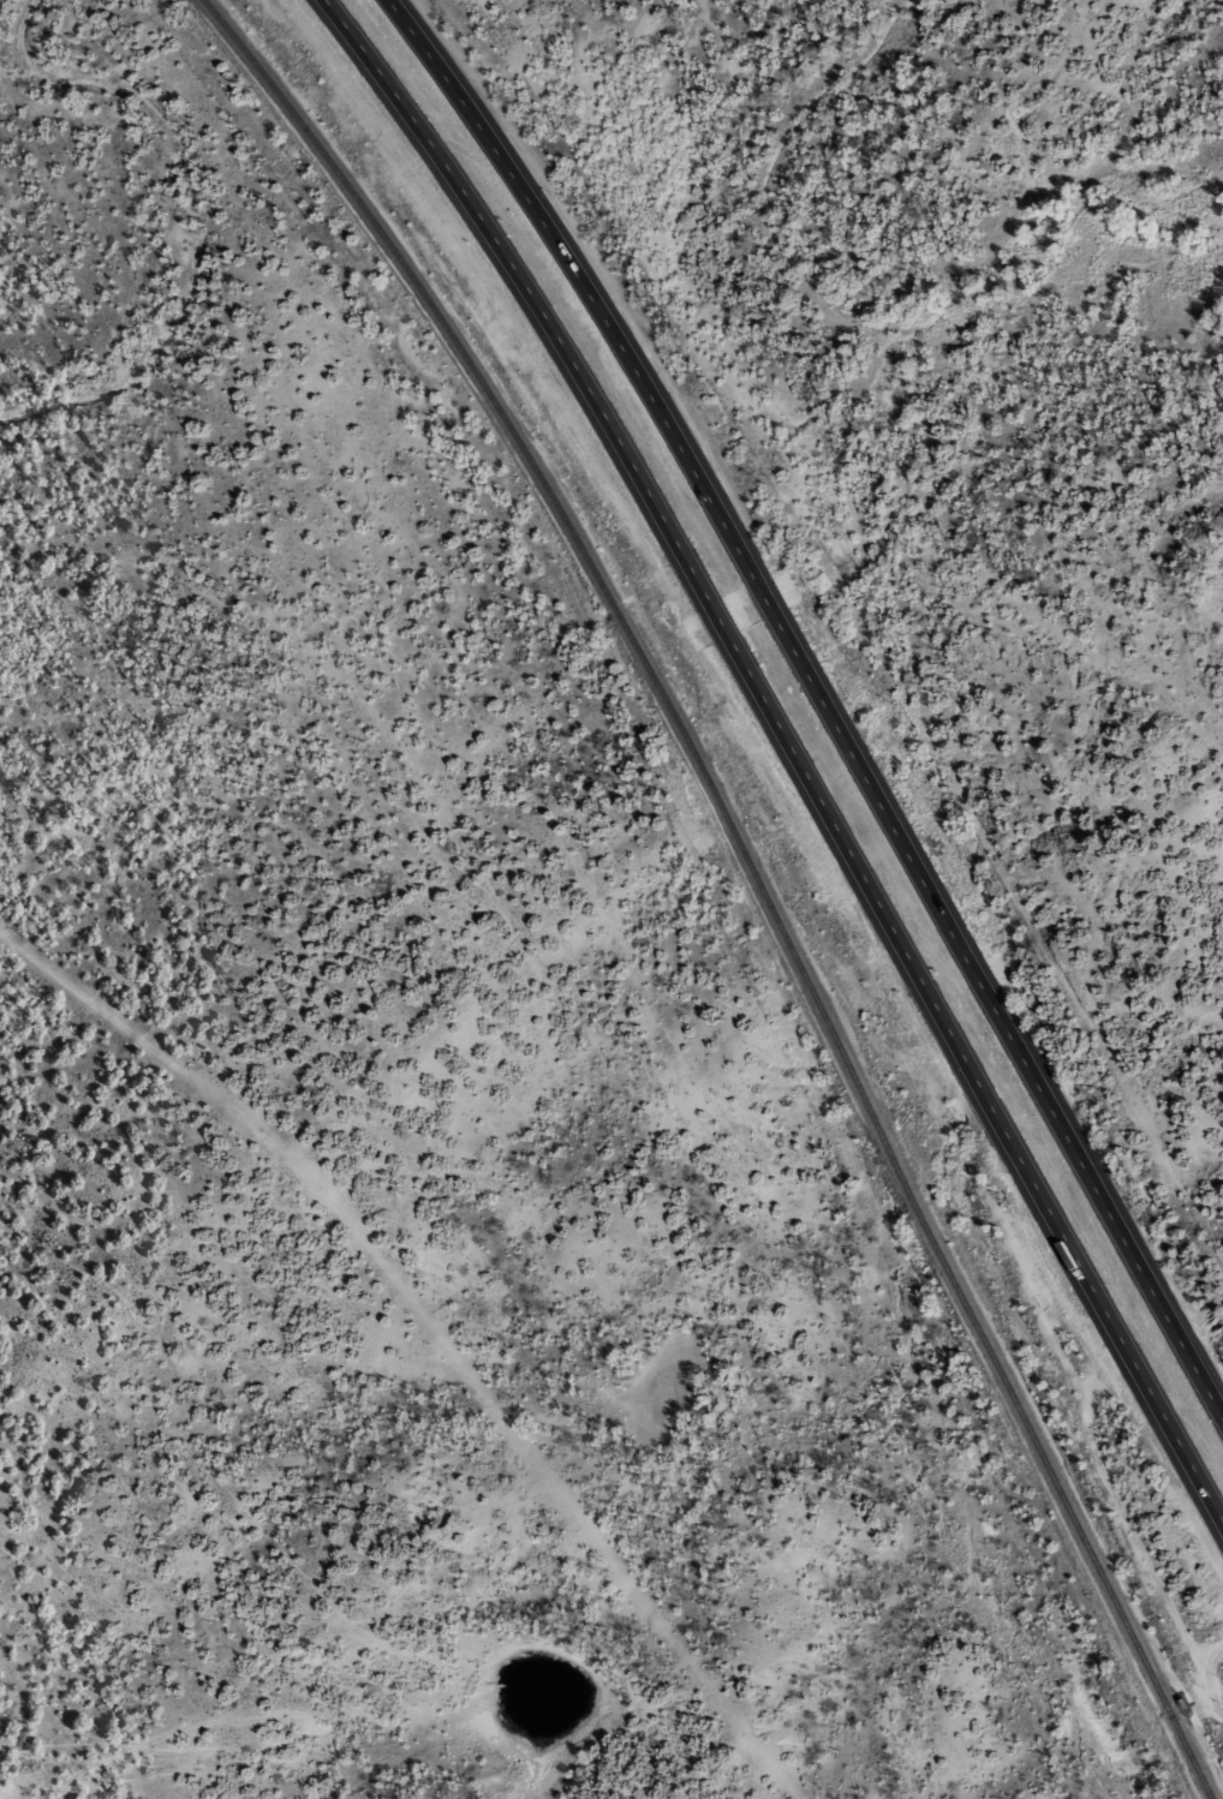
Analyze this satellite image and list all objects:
road: (823, 698)
road: (794, 741)
railway: (758, 872)
road: (247, 1721)

